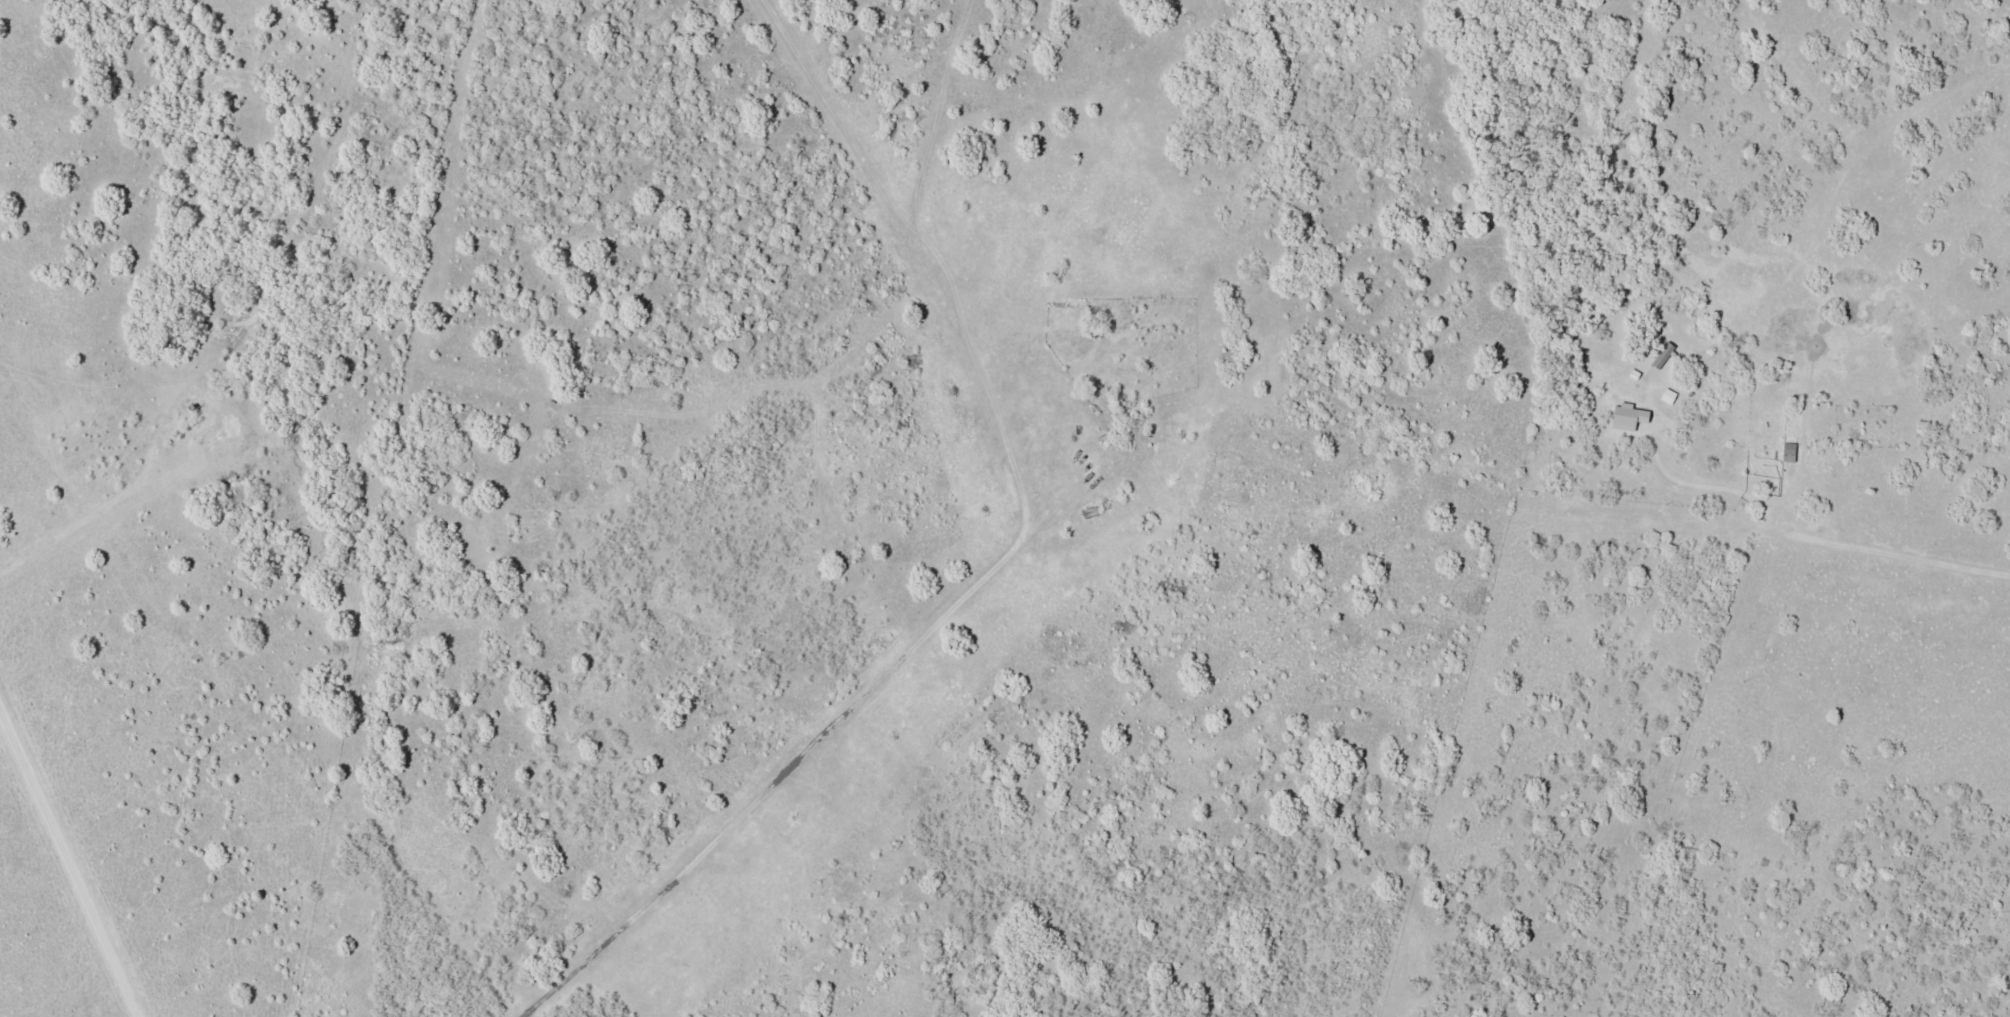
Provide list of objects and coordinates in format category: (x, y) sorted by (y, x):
building: (1664, 355)
building: (1792, 452)
road: (73, 854)

